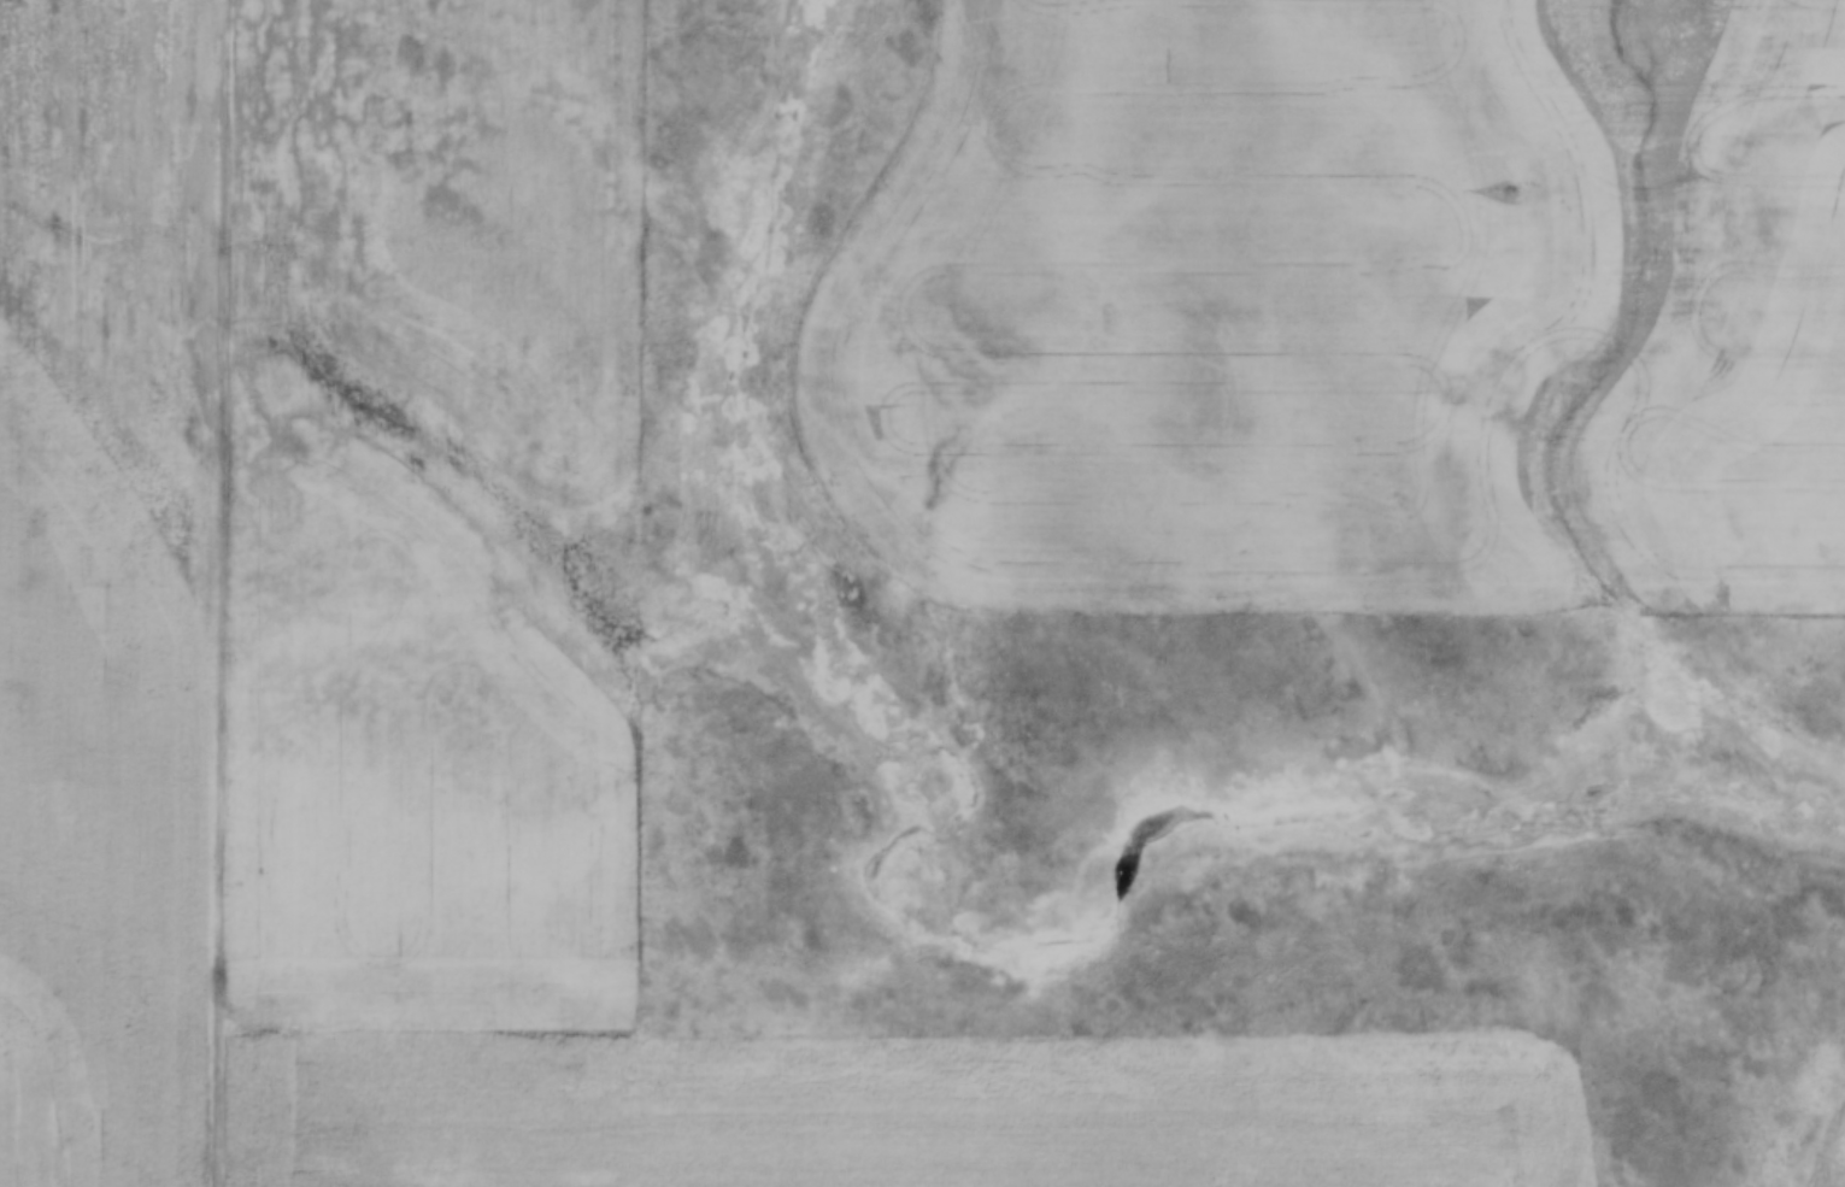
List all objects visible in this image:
road: (230, 593)

